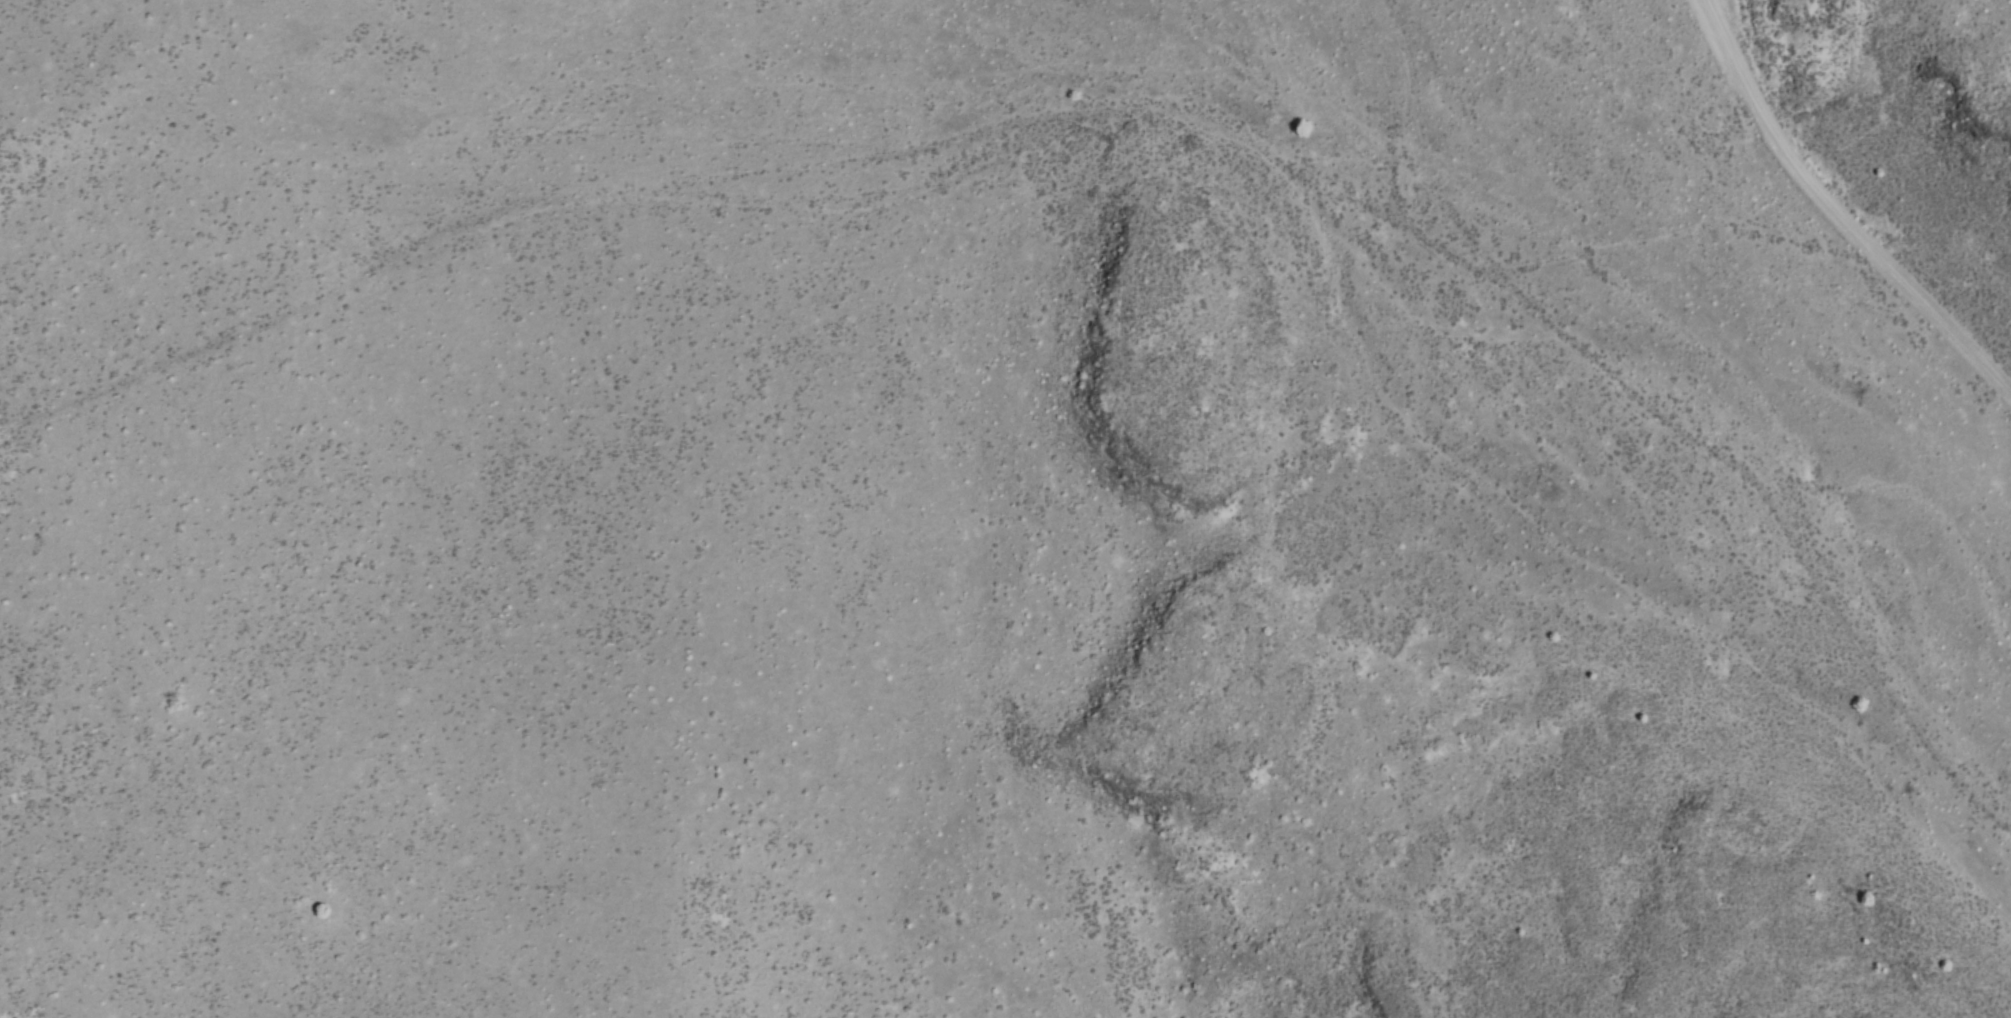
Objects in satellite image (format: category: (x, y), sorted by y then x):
road: (1835, 211)

